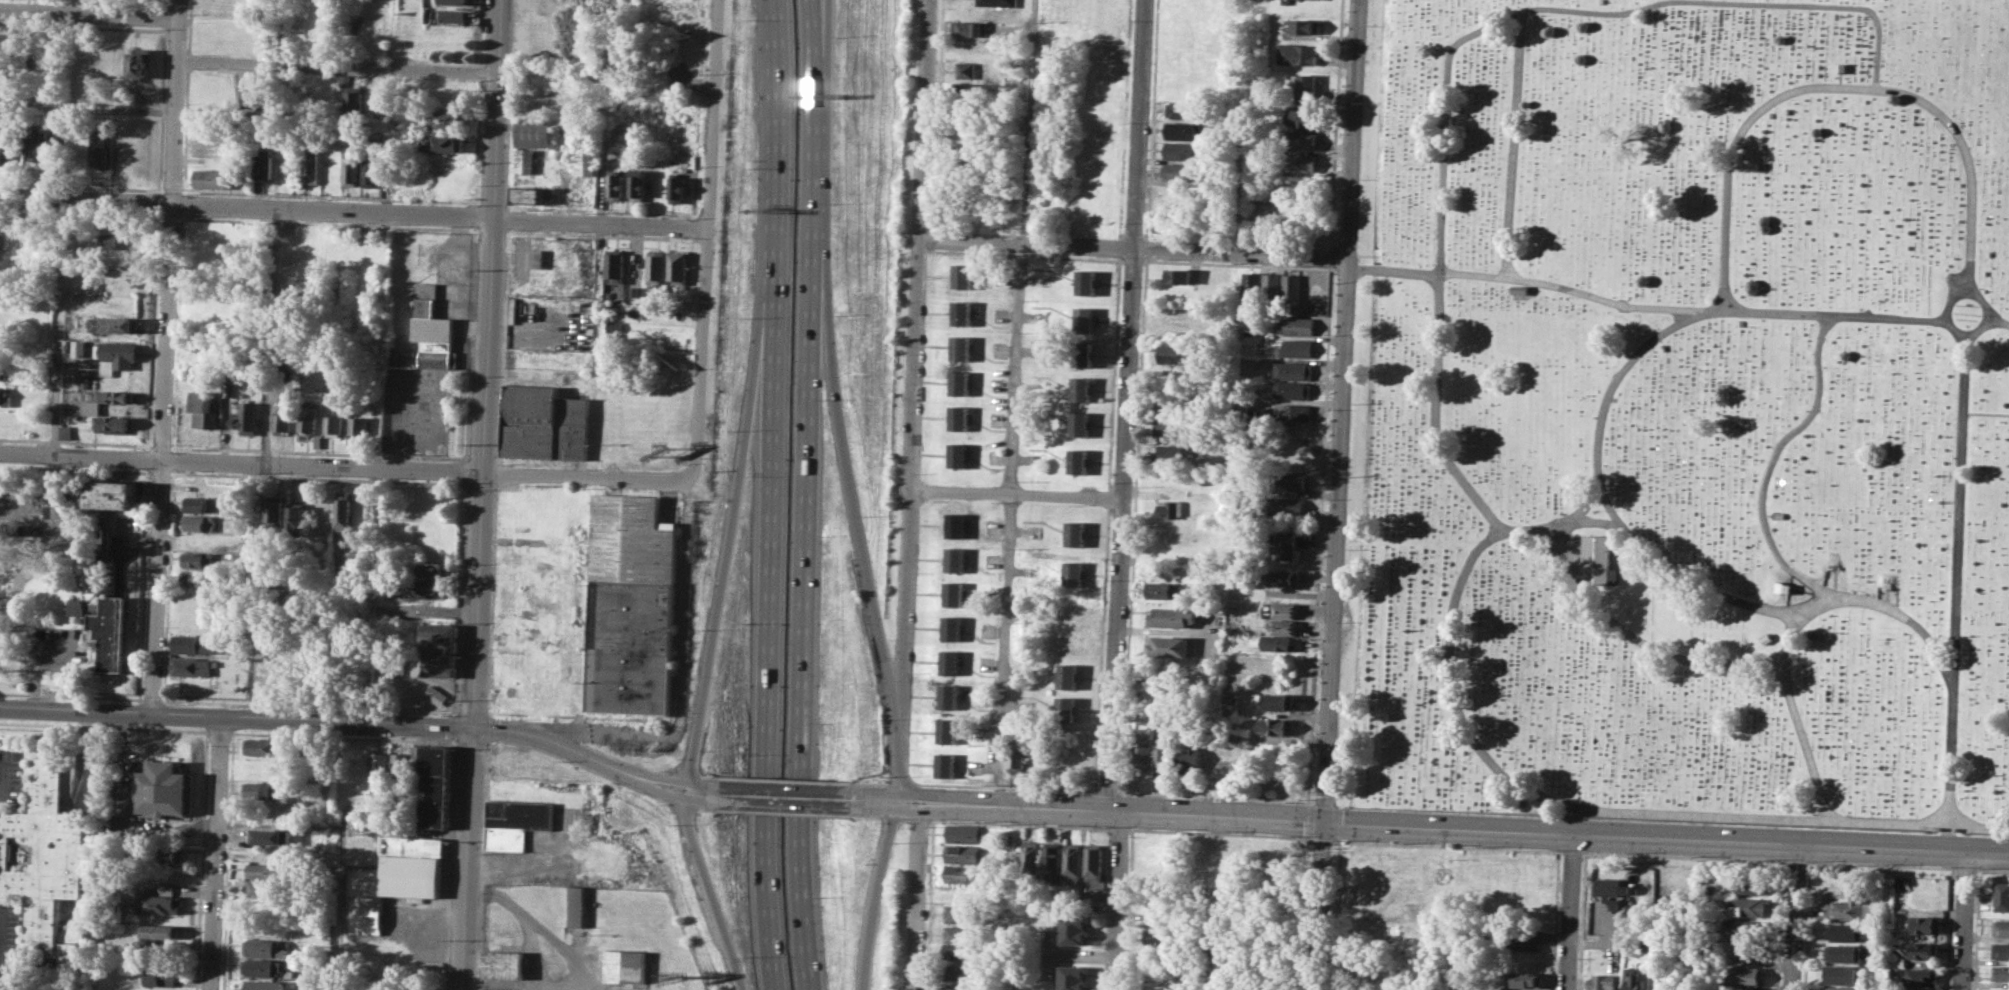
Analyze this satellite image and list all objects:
building: (452, 2)
building: (998, 2)
road: (1769, 2)
road: (814, 3)
road: (815, 3)
road: (89, 12)
building: (451, 16)
building: (1304, 25)
building: (968, 28)
building: (1298, 54)
building: (140, 61)
road: (339, 68)
building: (967, 70)
building: (1307, 88)
building: (254, 98)
building: (333, 100)
building: (354, 101)
building: (376, 102)
road: (88, 106)
building: (1181, 108)
building: (1299, 116)
building: (445, 119)
road: (1028, 121)
building: (1181, 129)
building: (532, 132)
building: (211, 138)
building: (1300, 140)
building: (39, 141)
building: (440, 143)
building: (9, 147)
building: (100, 150)
building: (1180, 150)
road: (811, 154)
building: (524, 160)
building: (1300, 162)
building: (584, 163)
building: (263, 165)
building: (311, 165)
building: (350, 169)
building: (370, 169)
building: (1180, 171)
building: (211, 177)
road: (1971, 179)
road: (775, 181)
building: (636, 184)
building: (613, 185)
building: (675, 187)
building: (533, 194)
road: (353, 212)
building: (114, 239)
road: (706, 244)
road: (1132, 247)
building: (536, 257)
building: (613, 266)
building: (654, 266)
building: (676, 266)
building: (965, 275)
building: (1177, 275)
building: (1086, 282)
building: (1251, 286)
building: (1272, 286)
building: (1291, 288)
road: (1981, 293)
road: (1983, 301)
building: (962, 312)
building: (1180, 314)
road: (1910, 317)
building: (1085, 319)
building: (5, 320)
building: (113, 324)
building: (1296, 325)
road: (1984, 326)
building: (425, 332)
building: (79, 347)
building: (961, 348)
building: (1295, 348)
building: (1083, 353)
building: (1173, 353)
building: (115, 355)
road: (165, 356)
building: (4, 370)
building: (1292, 370)
building: (960, 382)
building: (86, 383)
building: (1082, 388)
building: (1291, 390)
road: (1607, 392)
building: (5, 397)
building: (107, 399)
road: (914, 400)
road: (1126, 404)
road: (56, 408)
building: (202, 408)
building: (1292, 412)
park: (1681, 414)
building: (307, 417)
building: (960, 417)
building: (245, 418)
building: (281, 421)
building: (544, 423)
building: (1081, 423)
building: (111, 424)
building: (332, 425)
building: (358, 425)
building: (1175, 427)
building: (65, 432)
building: (317, 440)
building: (1175, 452)
building: (959, 454)
building: (1079, 461)
road: (1773, 466)
road: (344, 468)
building: (1285, 481)
building: (111, 494)
road: (482, 494)
road: (1337, 494)
road: (1017, 495)
building: (58, 503)
road: (1585, 503)
building: (198, 504)
road: (1483, 506)
building: (1282, 507)
building: (1169, 509)
building: (275, 513)
building: (344, 513)
road: (856, 514)
building: (297, 521)
building: (200, 523)
road: (1008, 523)
building: (956, 524)
building: (1077, 533)
building: (632, 538)
building: (1284, 543)
building: (955, 559)
building: (200, 560)
building: (1595, 560)
building: (431, 569)
building: (1074, 573)
building: (1279, 576)
road: (722, 577)
building: (199, 578)
building: (424, 588)
building: (1167, 589)
building: (953, 594)
building: (75, 607)
building: (1282, 609)
building: (1174, 616)
building: (1280, 626)
building: (953, 627)
building: (110, 630)
building: (1276, 643)
building: (195, 644)
building: (630, 646)
road: (801, 646)
building: (1169, 646)
building: (437, 649)
road: (1669, 654)
building: (950, 662)
building: (193, 666)
building: (1069, 676)
road: (766, 677)
building: (1229, 689)
street lamp: (161, 695)
building: (949, 695)
road: (71, 696)
street lamp: (22, 698)
road: (151, 700)
building: (443, 700)
building: (1230, 700)
street lamp: (96, 701)
building: (1276, 701)
street lamp: (168, 704)
street lamp: (229, 706)
road: (309, 706)
building: (1067, 708)
street lamp: (305, 710)
building: (1230, 710)
road: (472, 712)
street lamp: (375, 713)
road: (255, 718)
street lamp: (663, 725)
building: (1274, 726)
building: (948, 730)
road: (1799, 730)
street lamp: (595, 732)
street lamp: (209, 744)
building: (263, 747)
street lamp: (456, 748)
building: (1019, 753)
building: (1144, 753)
building: (1167, 753)
building: (1194, 754)
road: (625, 758)
street lamp: (561, 760)
road: (600, 762)
building: (947, 764)
building: (400, 766)
street lamp: (652, 766)
building: (377, 770)
road: (685, 773)
road: (5, 775)
parking lot: (12, 775)
street lamp: (912, 775)
road: (710, 776)
road: (788, 779)
street lamp: (807, 779)
road: (871, 782)
building: (433, 783)
road: (900, 783)
road: (1005, 787)
building: (161, 788)
building: (259, 790)
road: (1108, 790)
road: (708, 795)
road: (1216, 795)
road: (790, 797)
road: (1611, 809)
street lamp: (724, 812)
street lamp: (857, 818)
street lamp: (935, 818)
traffic signals: (1325, 819)
road: (1309, 820)
building: (516, 822)
street lamp: (1013, 822)
road: (1431, 823)
street lamp: (676, 824)
street lamp: (1092, 825)
street lamp: (928, 826)
street lamp: (1144, 827)
street lamp: (1223, 830)
building: (965, 833)
street lamp: (1290, 835)
building: (268, 836)
street lamp: (1130, 836)
road: (1309, 839)
street lamp: (1343, 839)
road: (1322, 840)
street lamp: (895, 841)
street lamp: (1403, 842)
street lamp: (1480, 845)
road: (1447, 846)
street lamp: (1556, 848)
street lamp: (1332, 850)
road: (1571, 851)
street lamp: (1634, 852)
building: (168, 853)
road: (215, 853)
street lamp: (482, 853)
building: (965, 853)
street lamp: (1697, 855)
street lamp: (1582, 856)
road: (1683, 856)
building: (46, 857)
building: (1032, 858)
street lamp: (1771, 858)
street lamp: (1812, 859)
building: (1096, 861)
road: (1795, 861)
building: (1053, 862)
building: (1074, 862)
street lamp: (1880, 862)
road: (1880, 865)
street lamp: (1949, 865)
street lamp: (1986, 867)
road: (1965, 868)
road: (1992, 869)
building: (267, 870)
building: (964, 873)
building: (395, 877)
street lamp: (1975, 879)
building: (1751, 883)
building: (1609, 886)
building: (1902, 886)
building: (265, 889)
road: (712, 892)
road: (874, 894)
road: (918, 896)
building: (2002, 896)
road: (1118, 900)
building: (158, 904)
building: (577, 906)
building: (1851, 906)
building: (1749, 907)
road: (1571, 909)
road: (338, 910)
building: (961, 913)
road: (1795, 914)
road: (1963, 917)
building: (1926, 923)
building: (2001, 926)
building: (1745, 927)
building: (1076, 928)
building: (159, 932)
building: (1844, 932)
building: (960, 934)
building: (1160, 936)
road: (2, 937)
parking lot: (9, 938)
building: (1527, 938)
building: (266, 947)
building: (2001, 949)
building: (1923, 950)
building: (959, 951)
building: (1749, 951)
building: (1844, 953)
building: (1898, 961)
building: (503, 964)
building: (624, 965)
building: (266, 968)
building: (160, 972)
building: (959, 973)
building: (1395, 973)
building: (2000, 973)
building: (1842, 974)
building: (1745, 975)
building: (1074, 977)
building: (1920, 977)
building: (1527, 979)
building: (1634, 979)
building: (1161, 981)
building: (1603, 981)
building: (264, 984)
building: (958, 987)
building: (1840, 988)
building: (486, 989)
building: (1510, 989)
building: (1999, 989)

